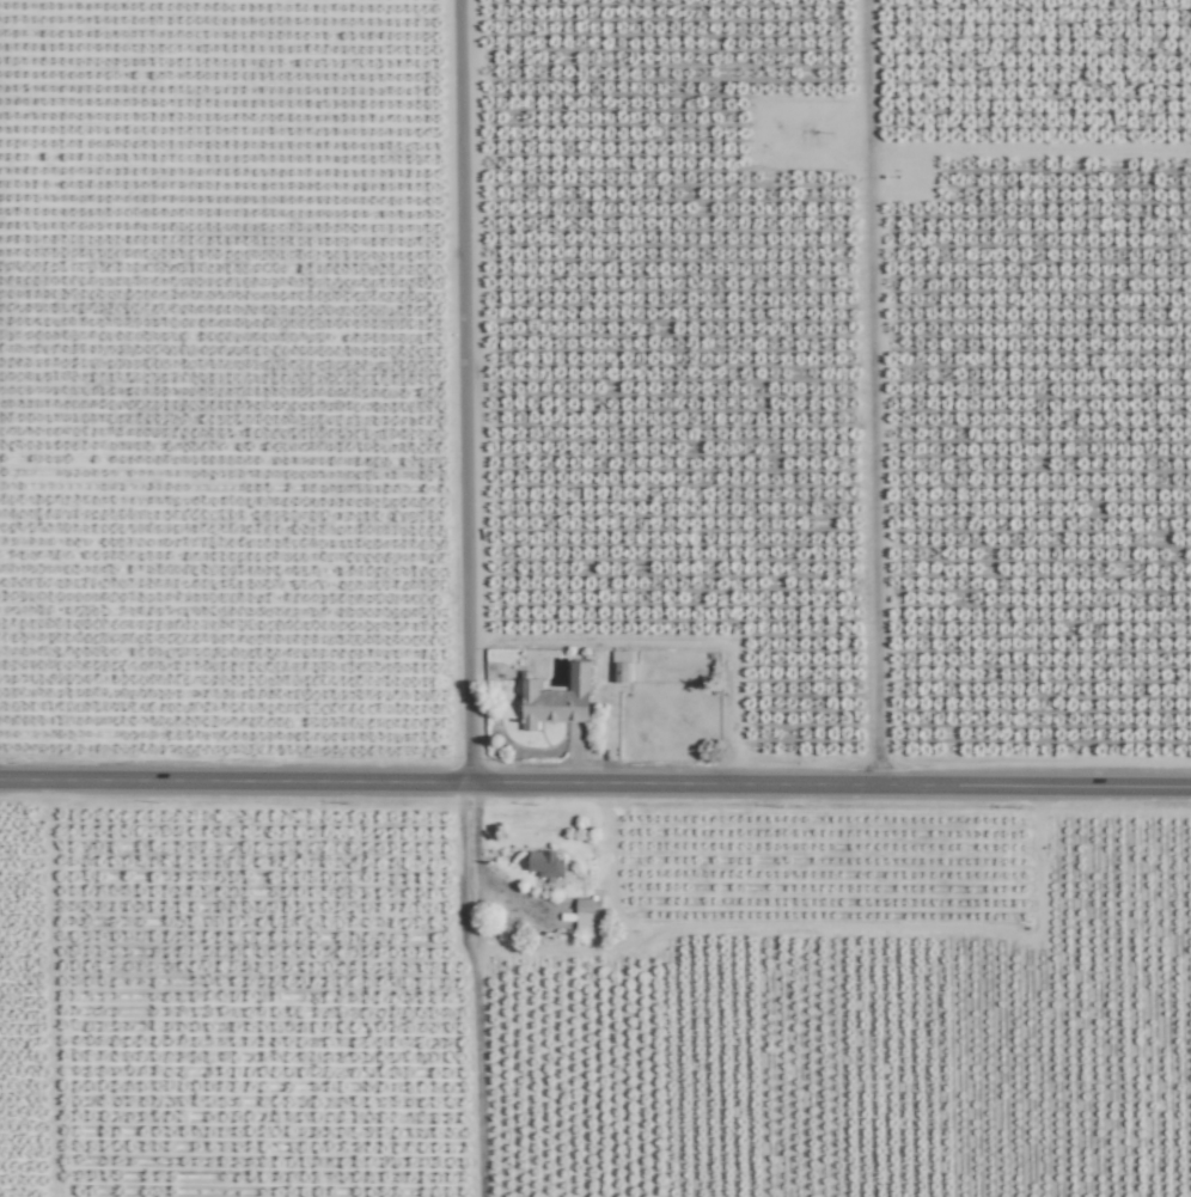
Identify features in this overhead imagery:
road: (462, 390)
road: (871, 391)
road: (671, 641)
building: (621, 672)
building: (555, 698)
road: (595, 781)
building: (545, 862)
road: (478, 877)
building: (582, 926)

